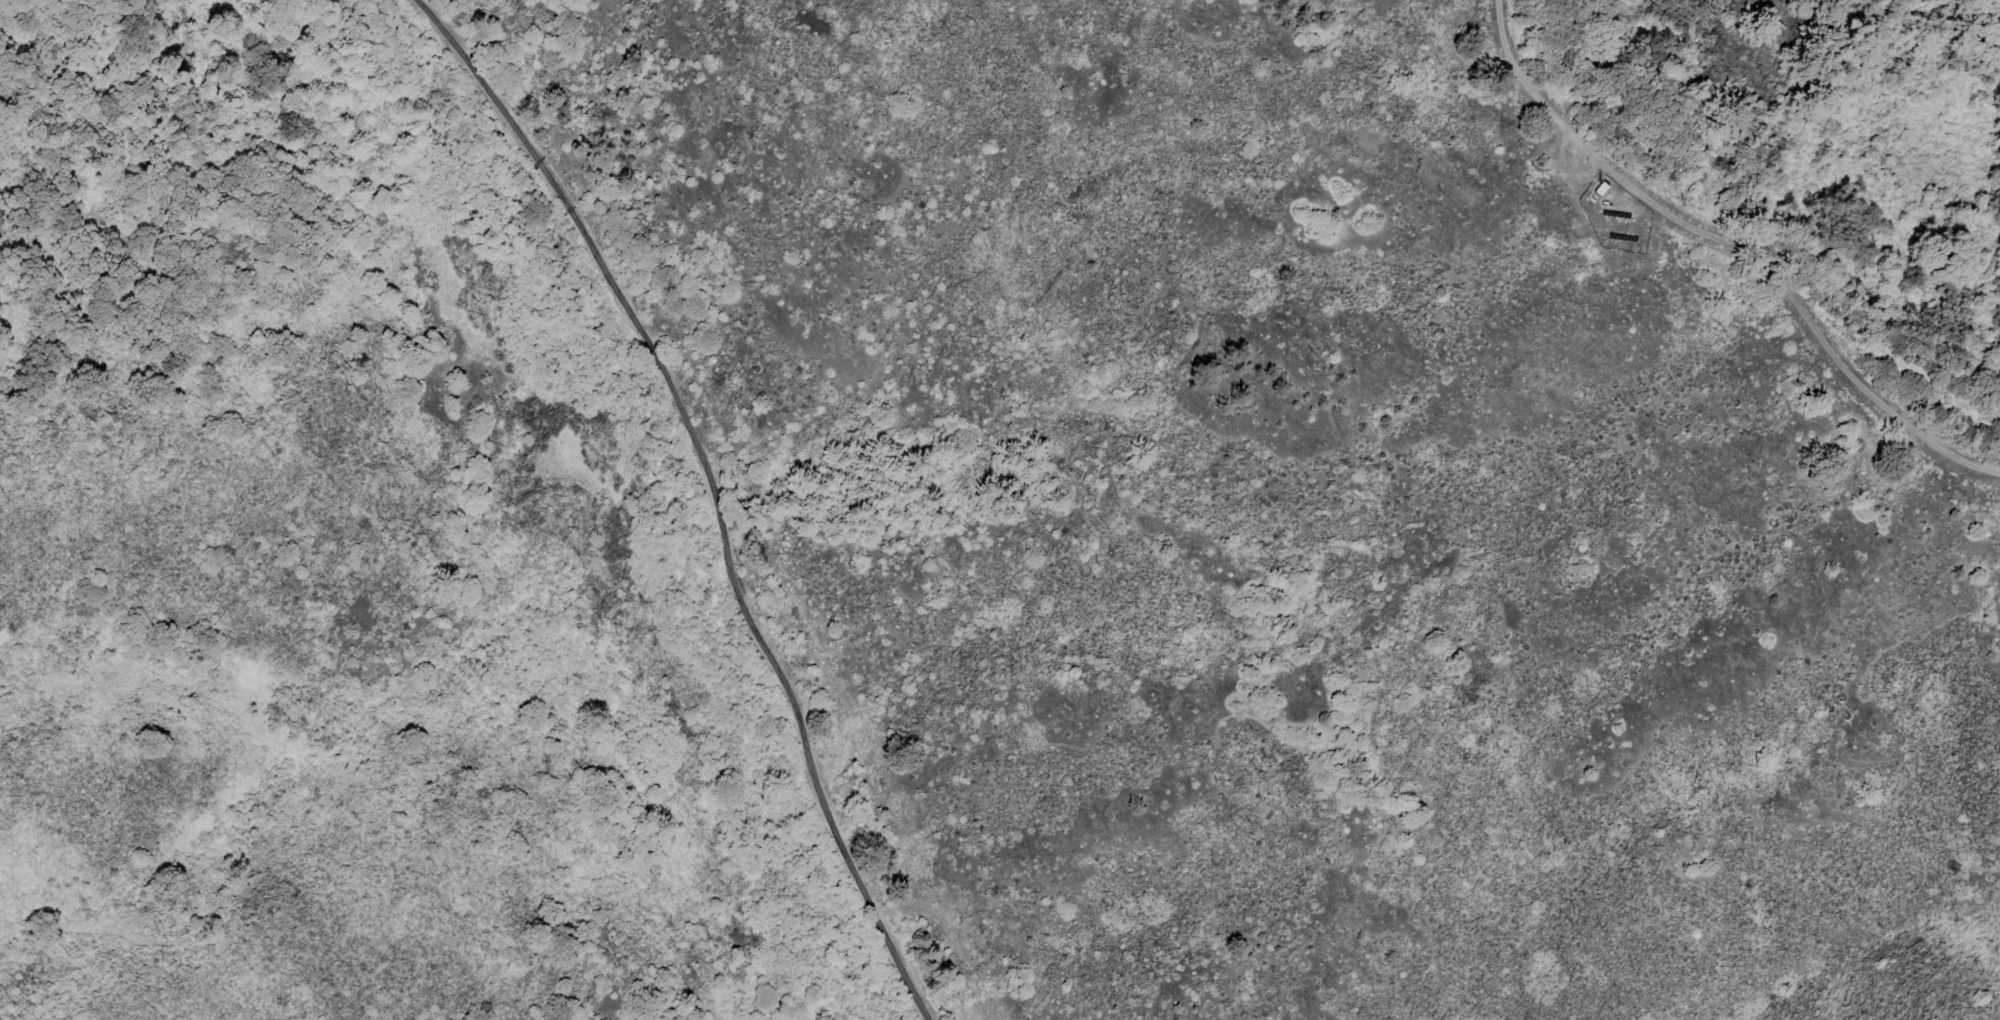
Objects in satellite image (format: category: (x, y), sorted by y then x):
road: (1736, 247)
road: (711, 494)

